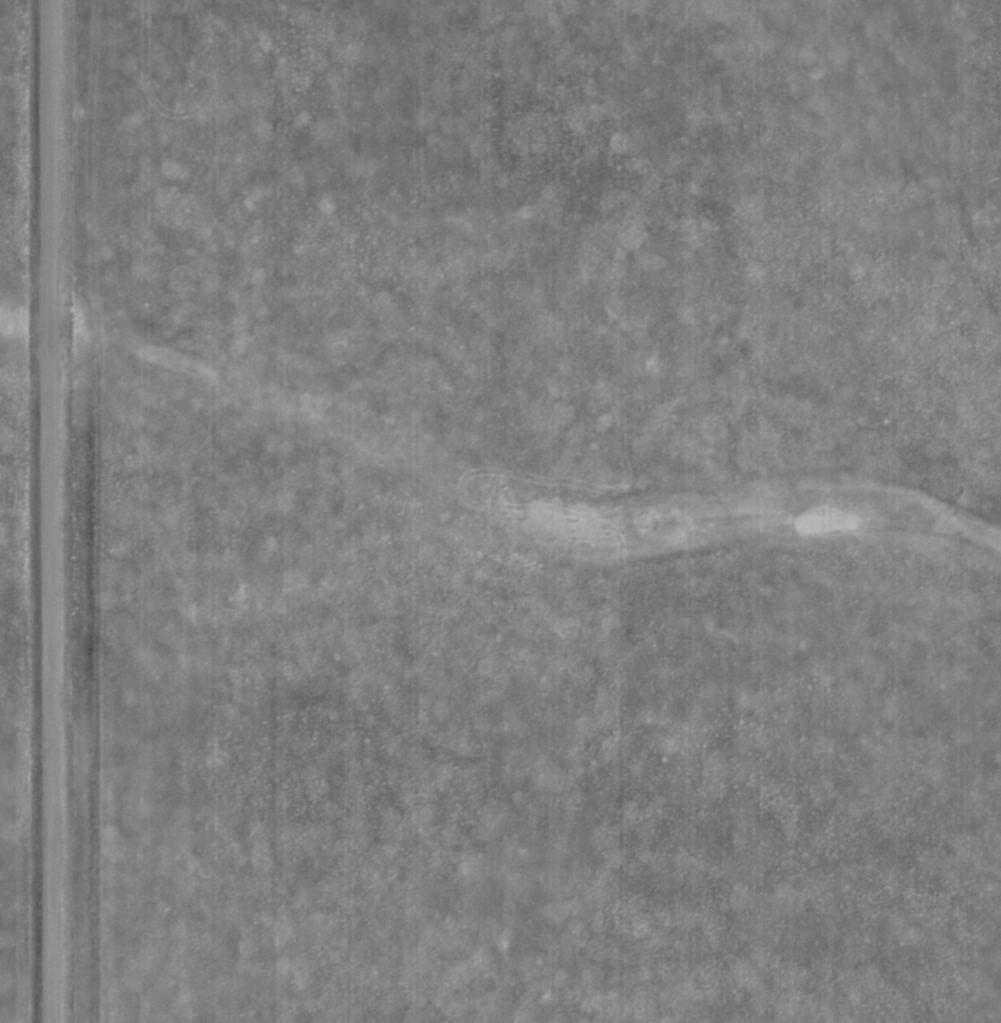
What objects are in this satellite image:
road: (47, 511)

